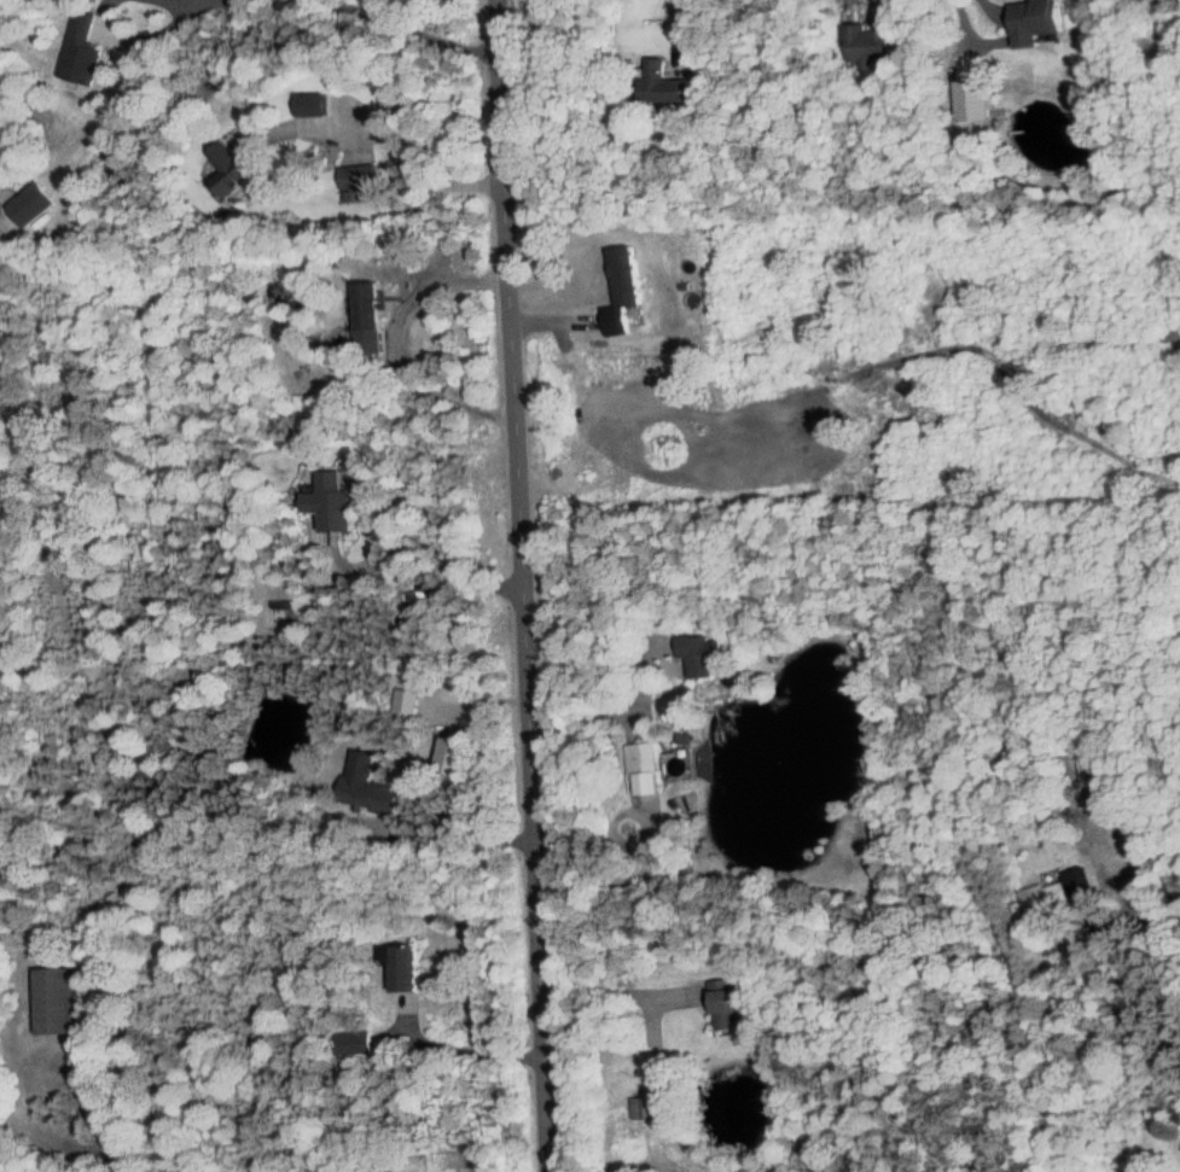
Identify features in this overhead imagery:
road: (172, 4)
road: (191, 4)
road: (678, 19)
building: (1031, 23)
road: (414, 29)
road: (970, 30)
road: (126, 31)
road: (1161, 41)
building: (865, 46)
building: (79, 52)
building: (663, 86)
building: (970, 100)
building: (313, 105)
road: (391, 141)
building: (227, 170)
building: (358, 180)
building: (29, 205)
building: (622, 290)
building: (366, 317)
road: (399, 348)
building: (330, 503)
road: (403, 566)
road: (522, 585)
building: (698, 655)
building: (405, 704)
road: (614, 711)
building: (448, 757)
building: (641, 768)
building: (365, 786)
road: (452, 836)
building: (1056, 893)
road: (1159, 916)
building: (401, 968)
road: (614, 991)
building: (54, 1002)
building: (725, 1005)
building: (354, 1044)
road: (470, 1049)
building: (641, 1108)
road: (100, 1118)

